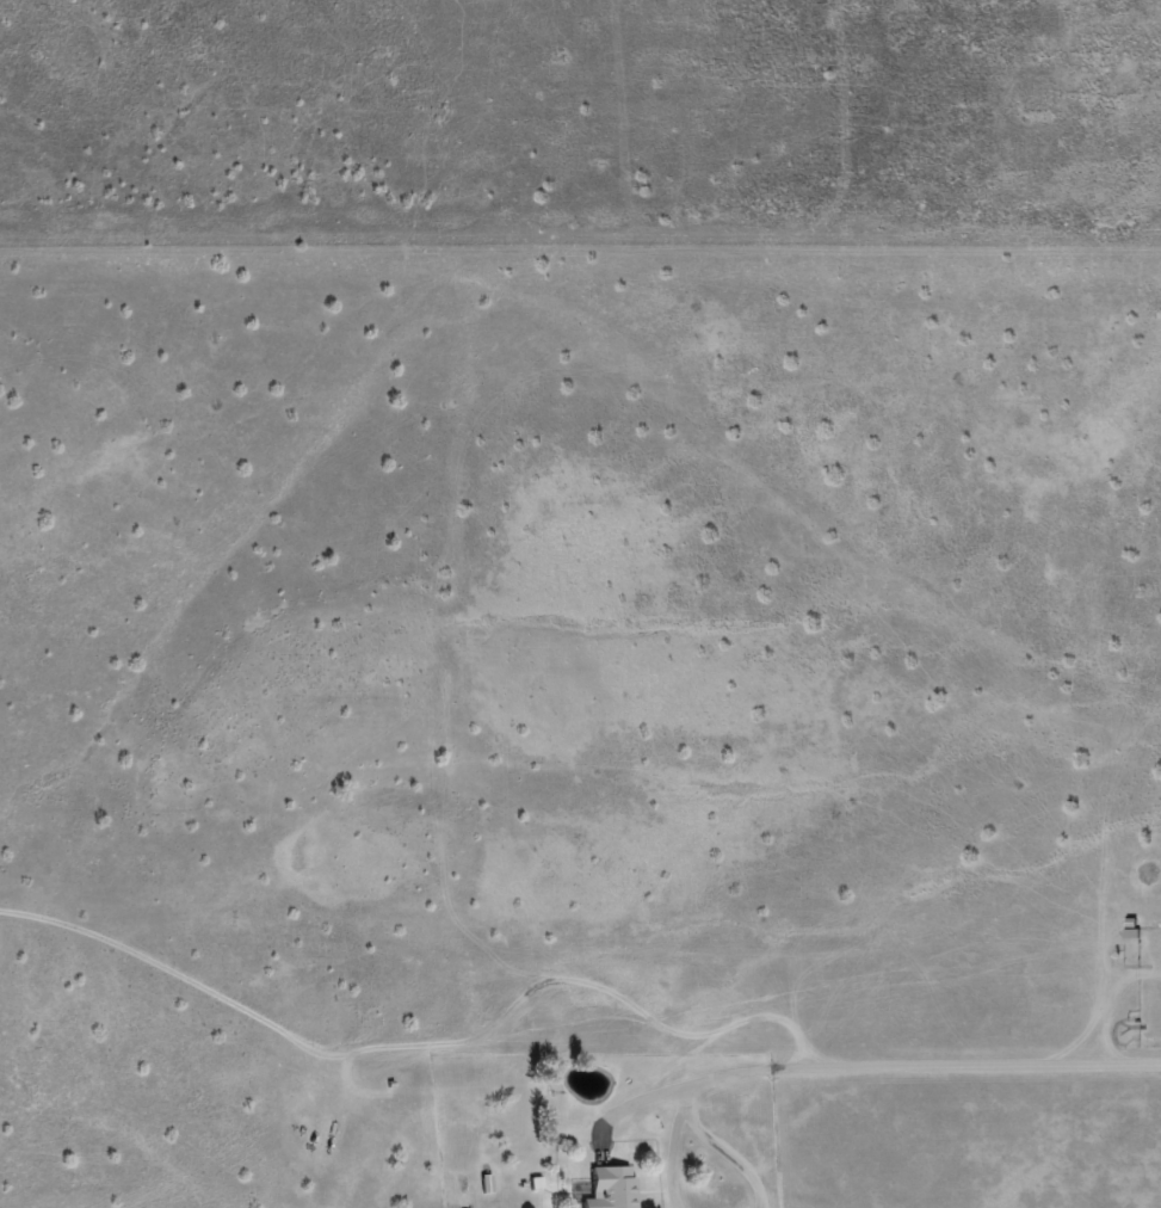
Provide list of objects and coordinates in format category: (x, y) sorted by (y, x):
building: (1132, 935)
road: (712, 1151)
building: (610, 1188)

